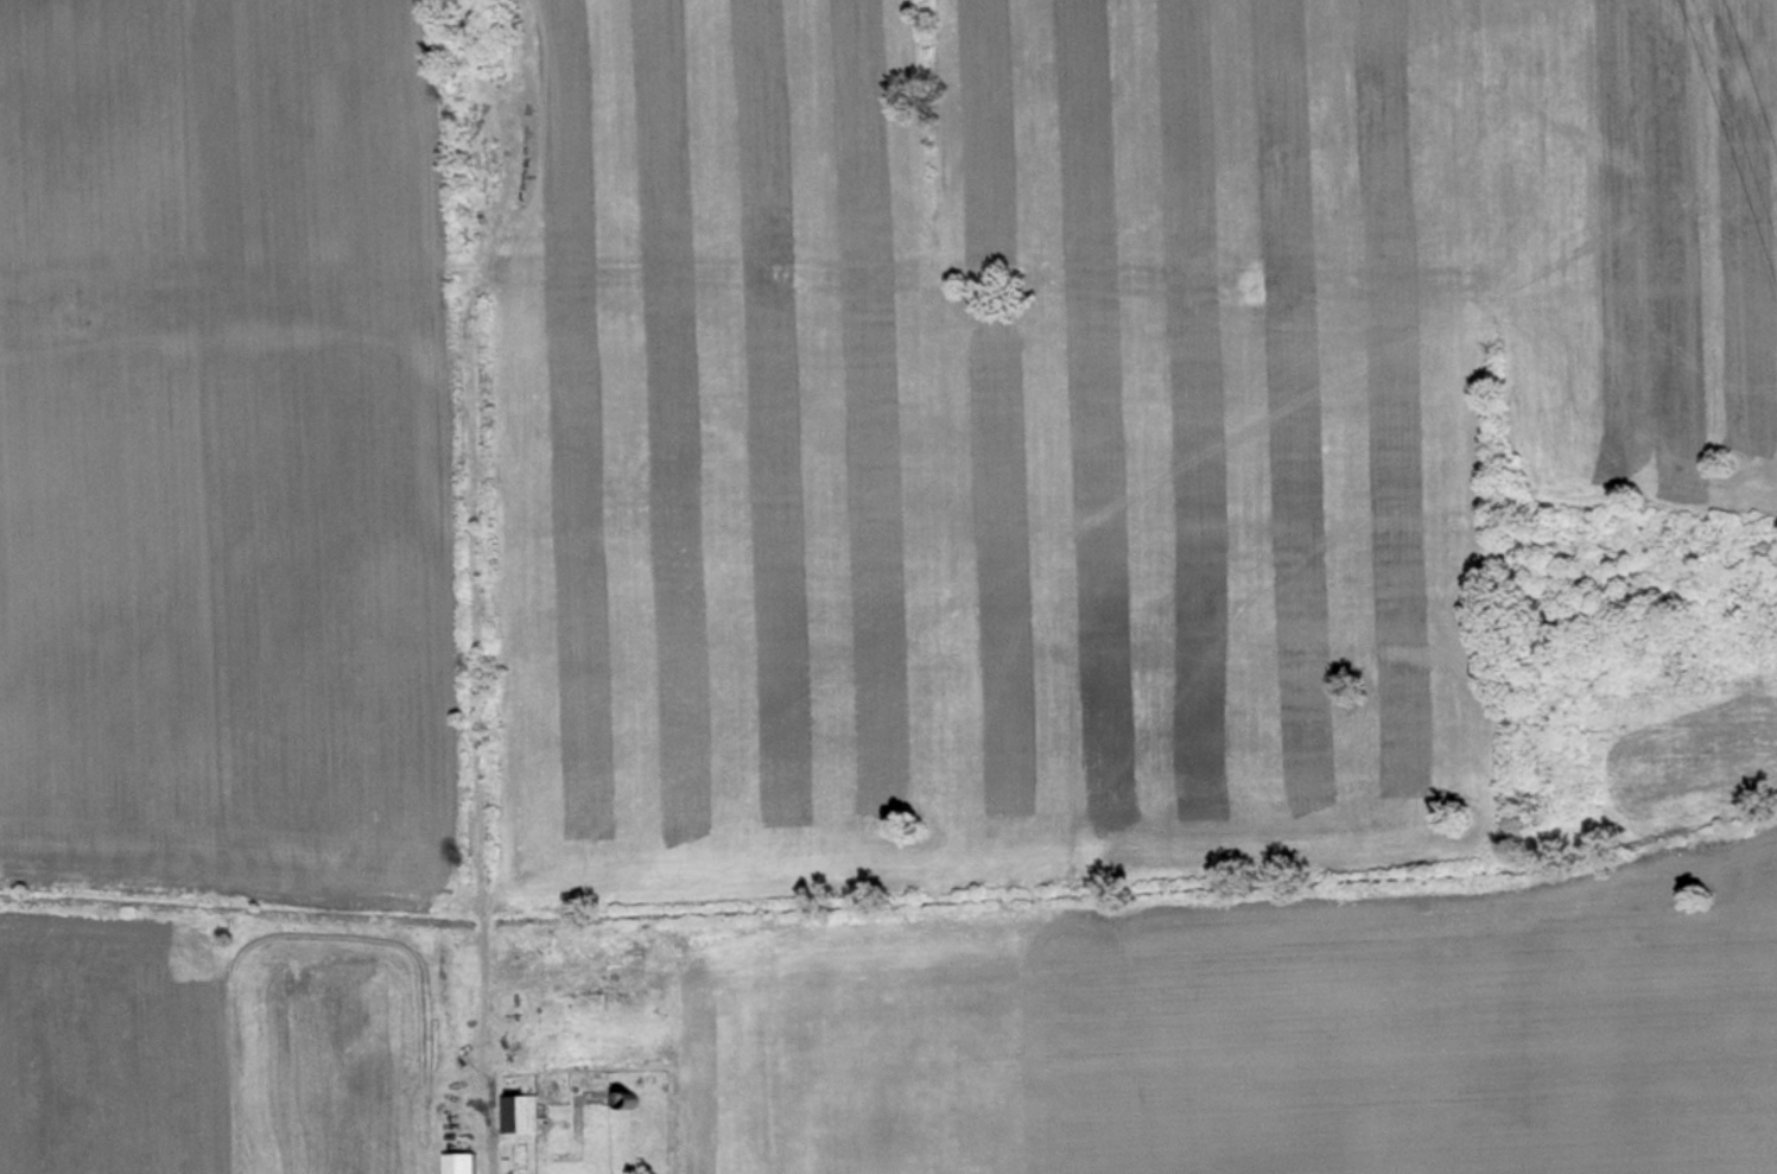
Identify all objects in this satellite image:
building: (526, 1113)
building: (470, 1163)

